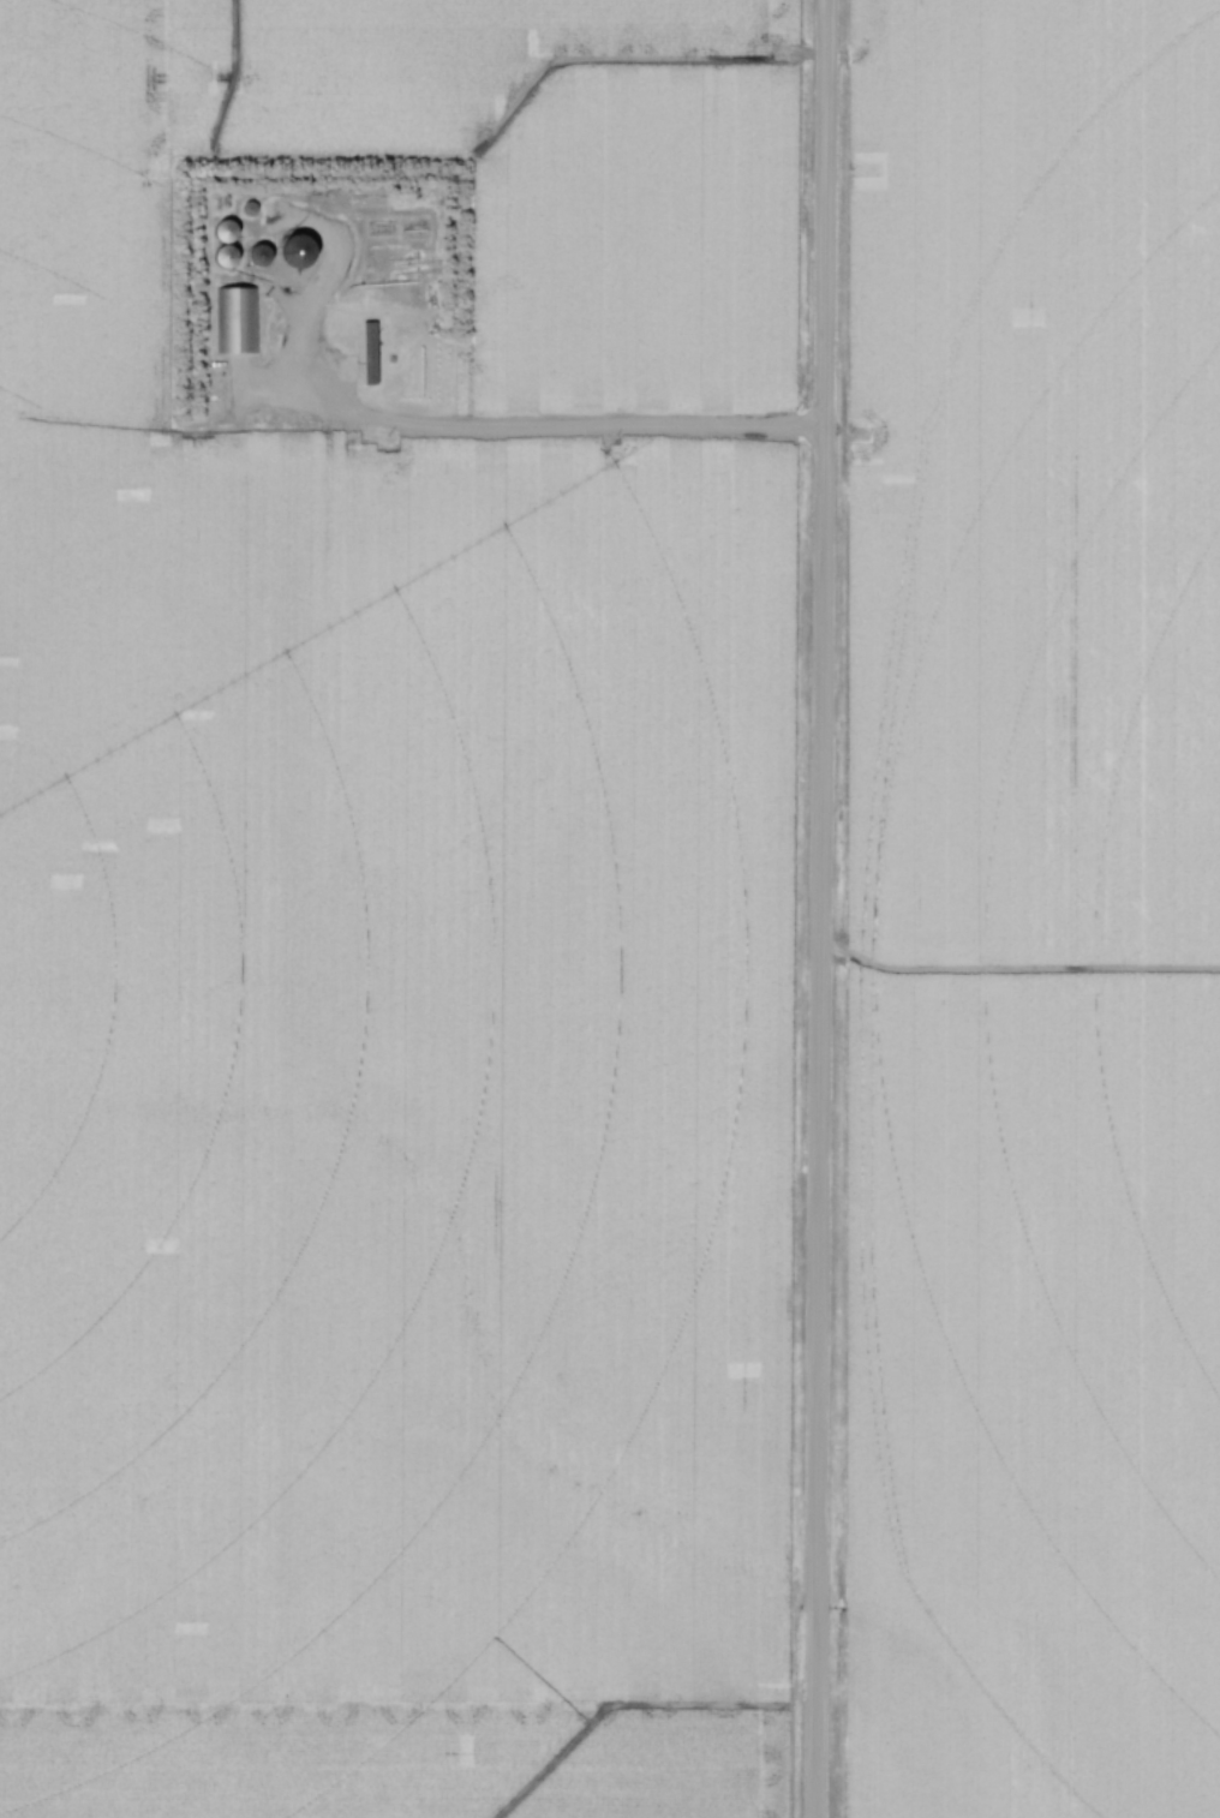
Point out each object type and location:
building: (222, 232)
building: (288, 253)
building: (253, 255)
building: (223, 258)
building: (238, 321)
road: (574, 433)
road: (814, 909)

